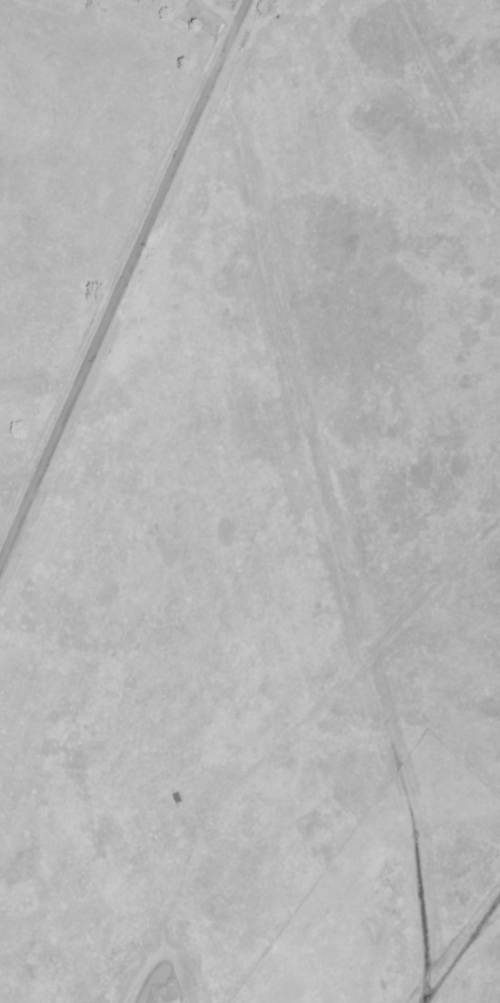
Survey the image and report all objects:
road: (220, 11)
road: (125, 285)

